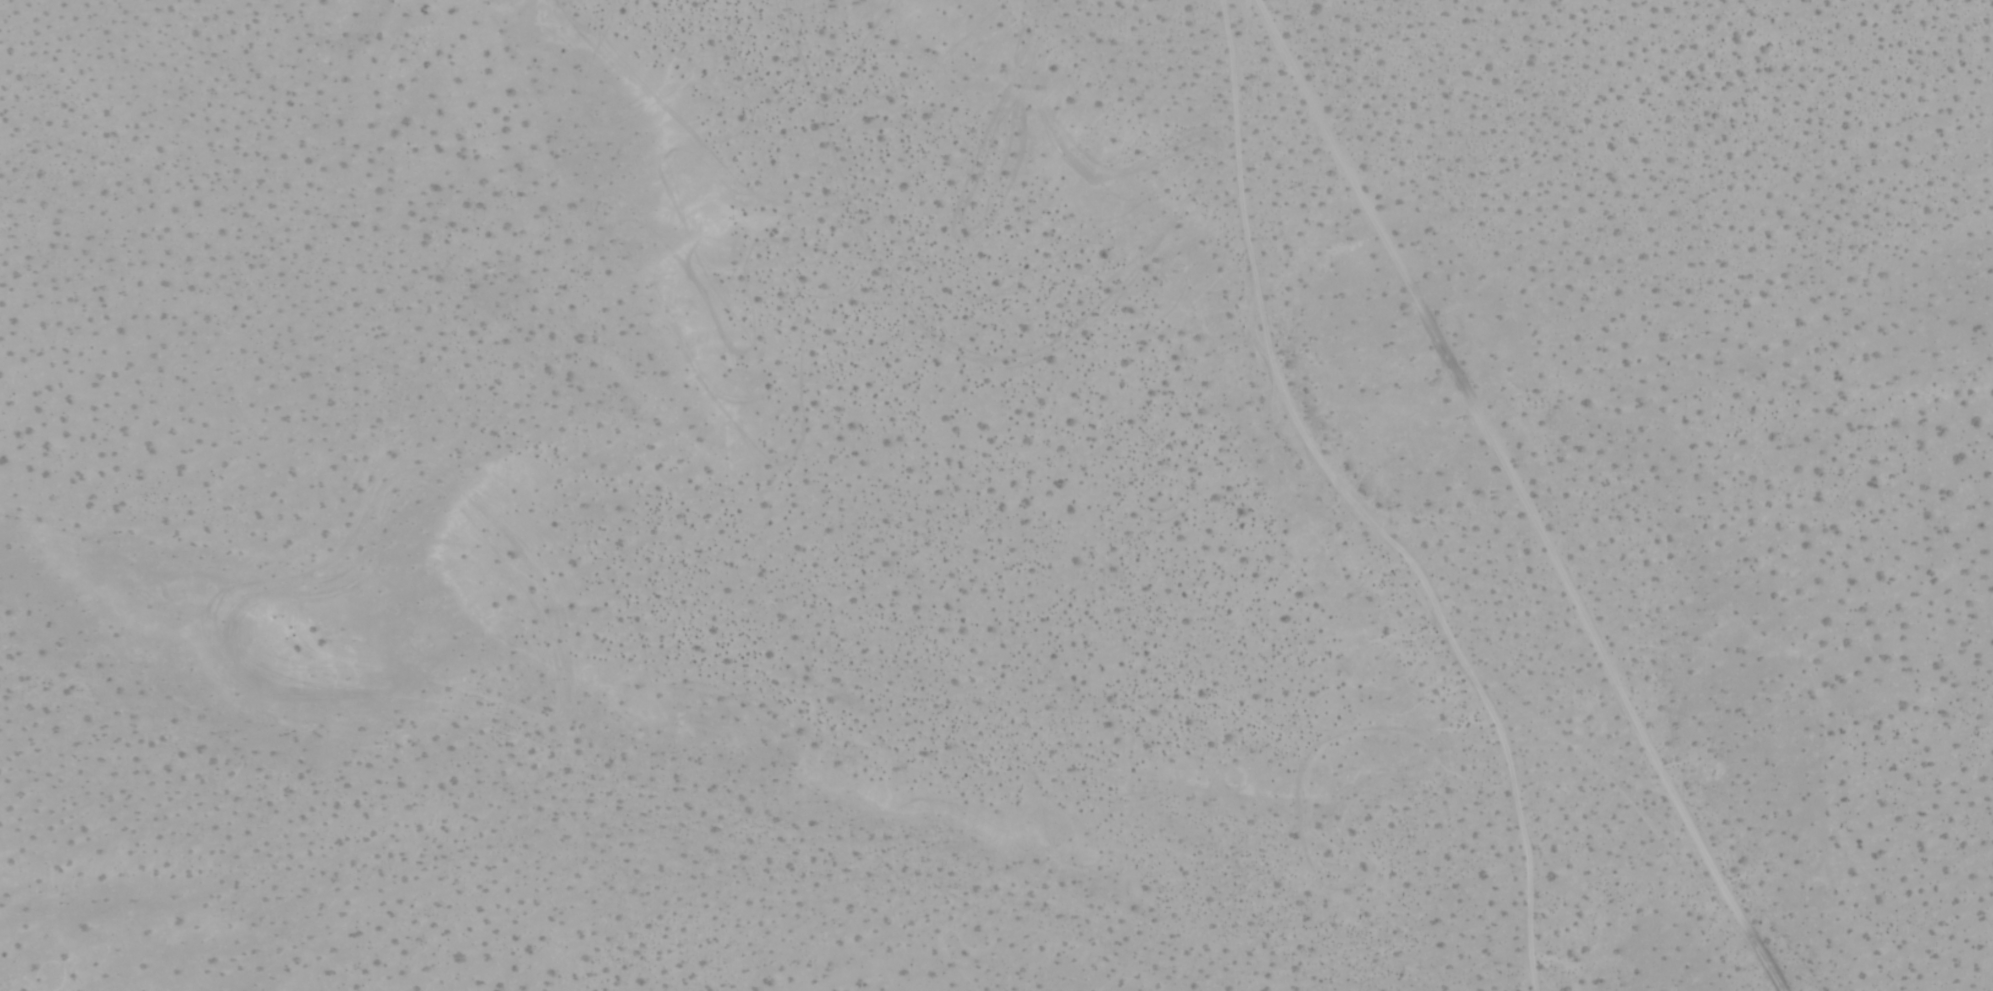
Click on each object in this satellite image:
road: (1346, 504)

